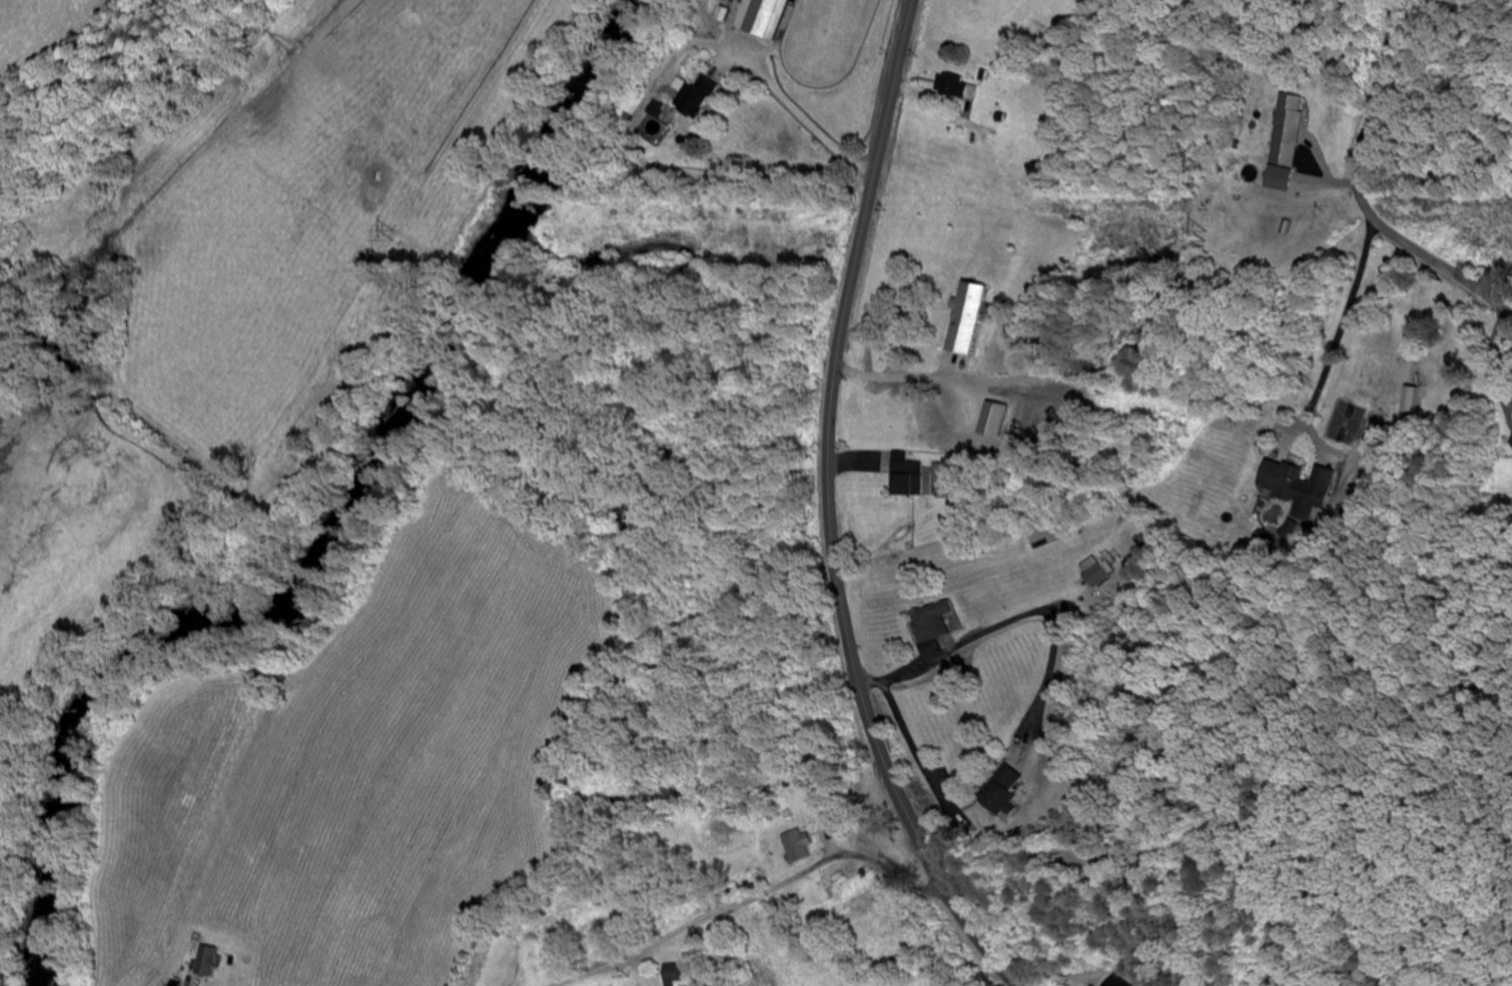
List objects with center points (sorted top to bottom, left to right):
building: (764, 18)
building: (954, 89)
building: (695, 100)
building: (1282, 143)
road: (1363, 187)
building: (963, 319)
building: (1409, 401)
building: (1510, 444)
building: (905, 479)
building: (1287, 487)
road: (829, 511)
river: (325, 529)
building: (1091, 572)
building: (927, 622)
building: (999, 794)
building: (794, 846)
road: (768, 891)
building: (477, 975)
building: (674, 975)
building: (1112, 982)

